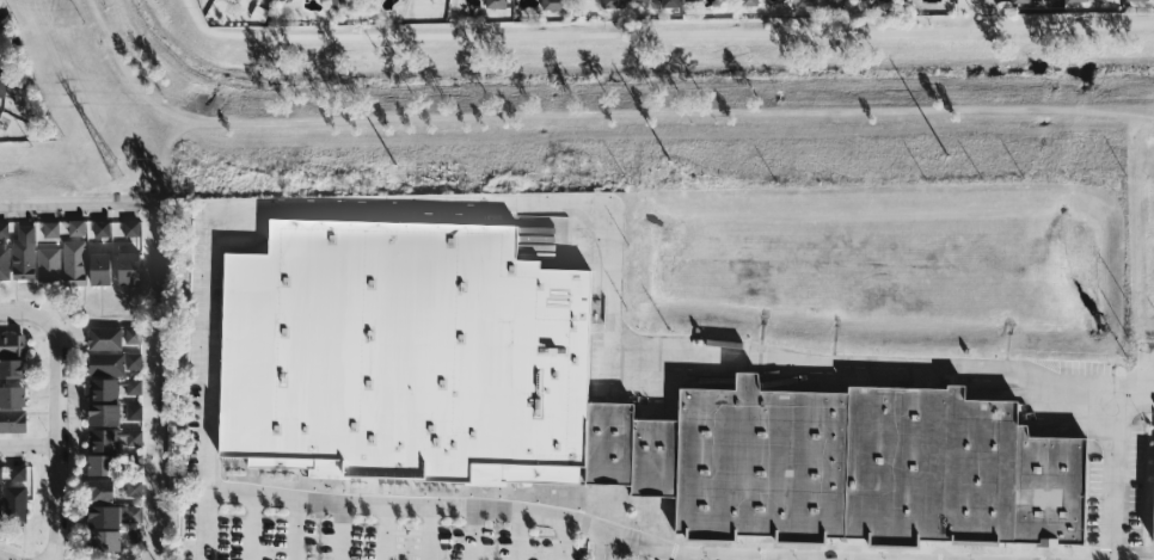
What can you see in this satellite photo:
building: (692, 0)
building: (1135, 0)
building: (637, 1)
building: (1019, 1)
building: (1075, 1)
building: (614, 2)
building: (671, 2)
building: (750, 2)
building: (808, 2)
building: (497, 4)
road: (984, 4)
building: (552, 5)
building: (2, 75)
building: (1, 116)
power tower: (115, 170)
road: (76, 211)
road: (102, 211)
road: (131, 211)
road: (50, 213)
road: (0, 214)
road: (26, 215)
building: (76, 227)
building: (102, 227)
building: (131, 227)
building: (51, 228)
building: (4, 229)
building: (99, 245)
building: (23, 252)
building: (74, 261)
building: (5, 263)
building: (48, 263)
road: (615, 266)
building: (129, 267)
building: (100, 269)
road: (17, 293)
road: (48, 296)
road: (84, 296)
road: (128, 297)
road: (102, 299)
road: (158, 302)
road: (102, 313)
road: (39, 333)
building: (133, 334)
road: (149, 334)
road: (73, 337)
building: (105, 337)
building: (12, 344)
building: (401, 352)
road: (149, 358)
building: (133, 359)
building: (106, 362)
road: (73, 363)
building: (12, 369)
road: (41, 370)
building: (13, 383)
building: (134, 384)
road: (151, 384)
building: (103, 387)
road: (42, 393)
road: (73, 393)
building: (13, 395)
road: (42, 410)
road: (151, 410)
building: (134, 411)
road: (57, 413)
road: (73, 414)
building: (105, 414)
building: (13, 419)
building: (134, 436)
road: (151, 436)
building: (104, 438)
road: (29, 443)
road: (73, 444)
road: (19, 454)
building: (134, 461)
road: (151, 461)
road: (73, 462)
building: (103, 463)
building: (847, 466)
building: (1, 472)
building: (18, 472)
building: (134, 486)
road: (151, 486)
road: (73, 490)
building: (100, 490)
building: (0, 499)
building: (14, 503)
road: (505, 507)
building: (1149, 507)
building: (134, 512)
road: (149, 512)
building: (104, 516)
road: (74, 524)
road: (251, 525)
road: (296, 529)
road: (340, 530)
road: (385, 530)
road: (430, 531)
road: (473, 531)
parking lot: (364, 535)
road: (517, 535)
building: (133, 537)
road: (149, 537)
road: (561, 539)
road: (24, 541)
building: (105, 542)
road: (603, 544)
road: (647, 552)
road: (698, 558)
road: (738, 558)
parking lot: (656, 559)
road: (784, 559)
road: (828, 559)

